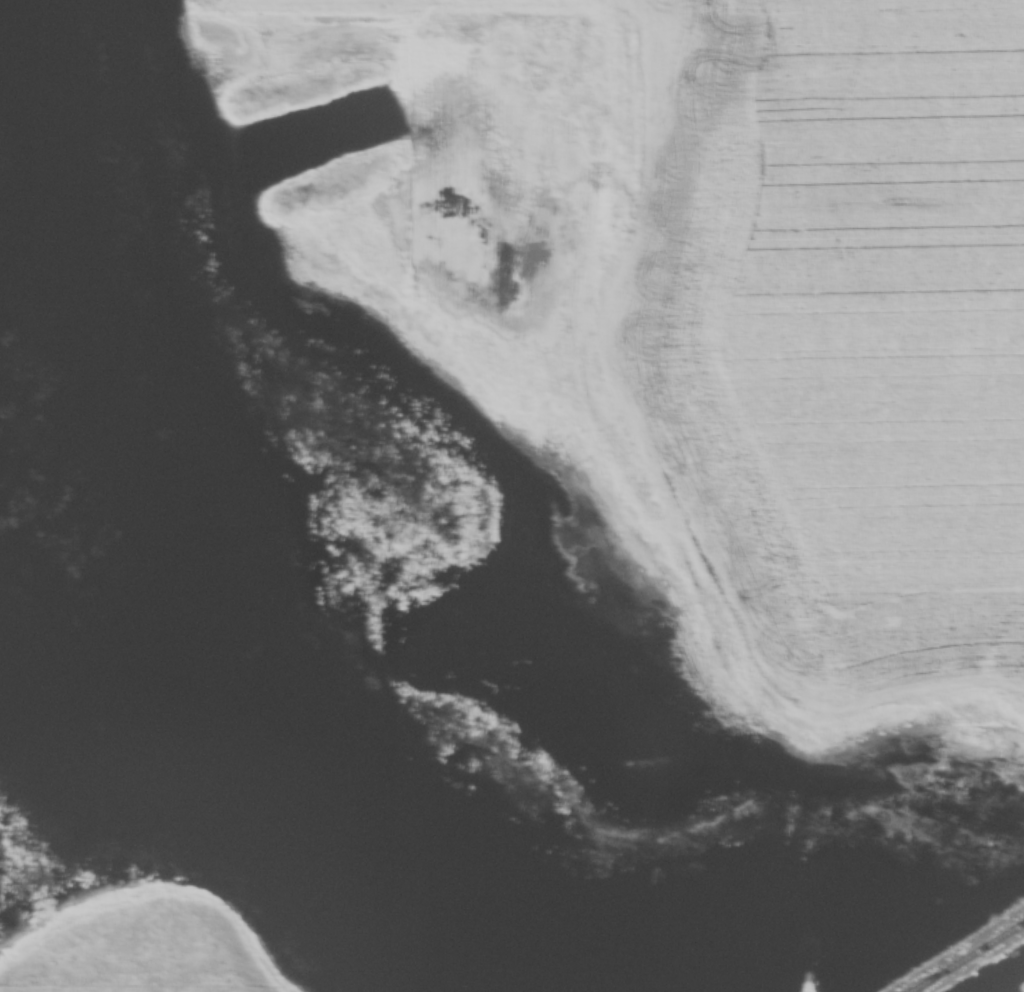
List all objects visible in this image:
railway: (972, 960)

